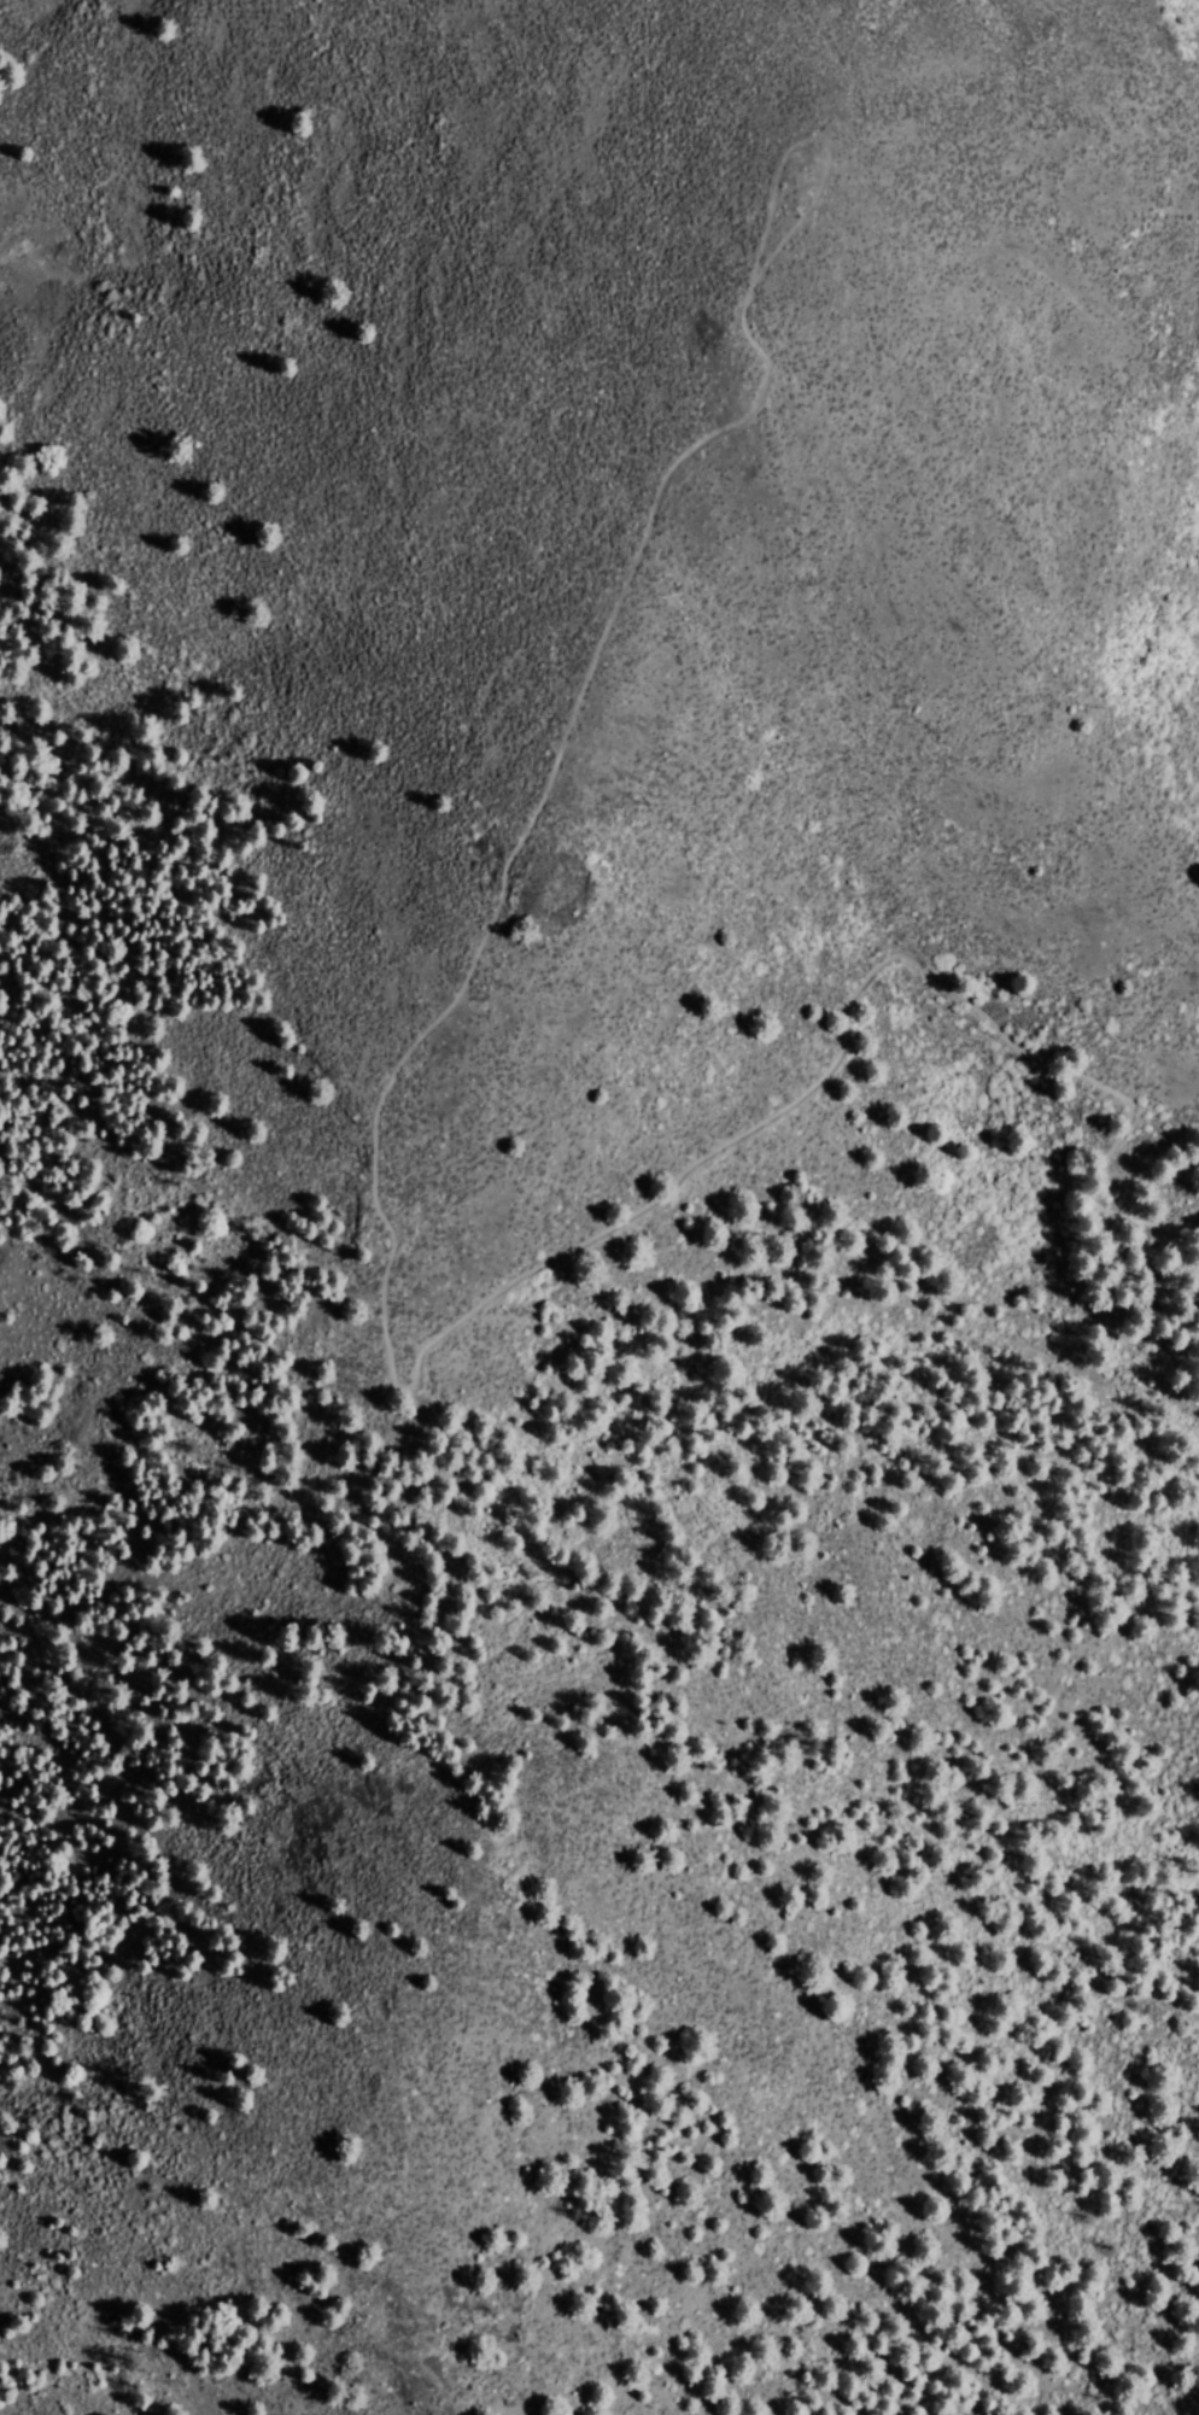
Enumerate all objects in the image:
crop: (626, 622)
crop: (1133, 2353)

